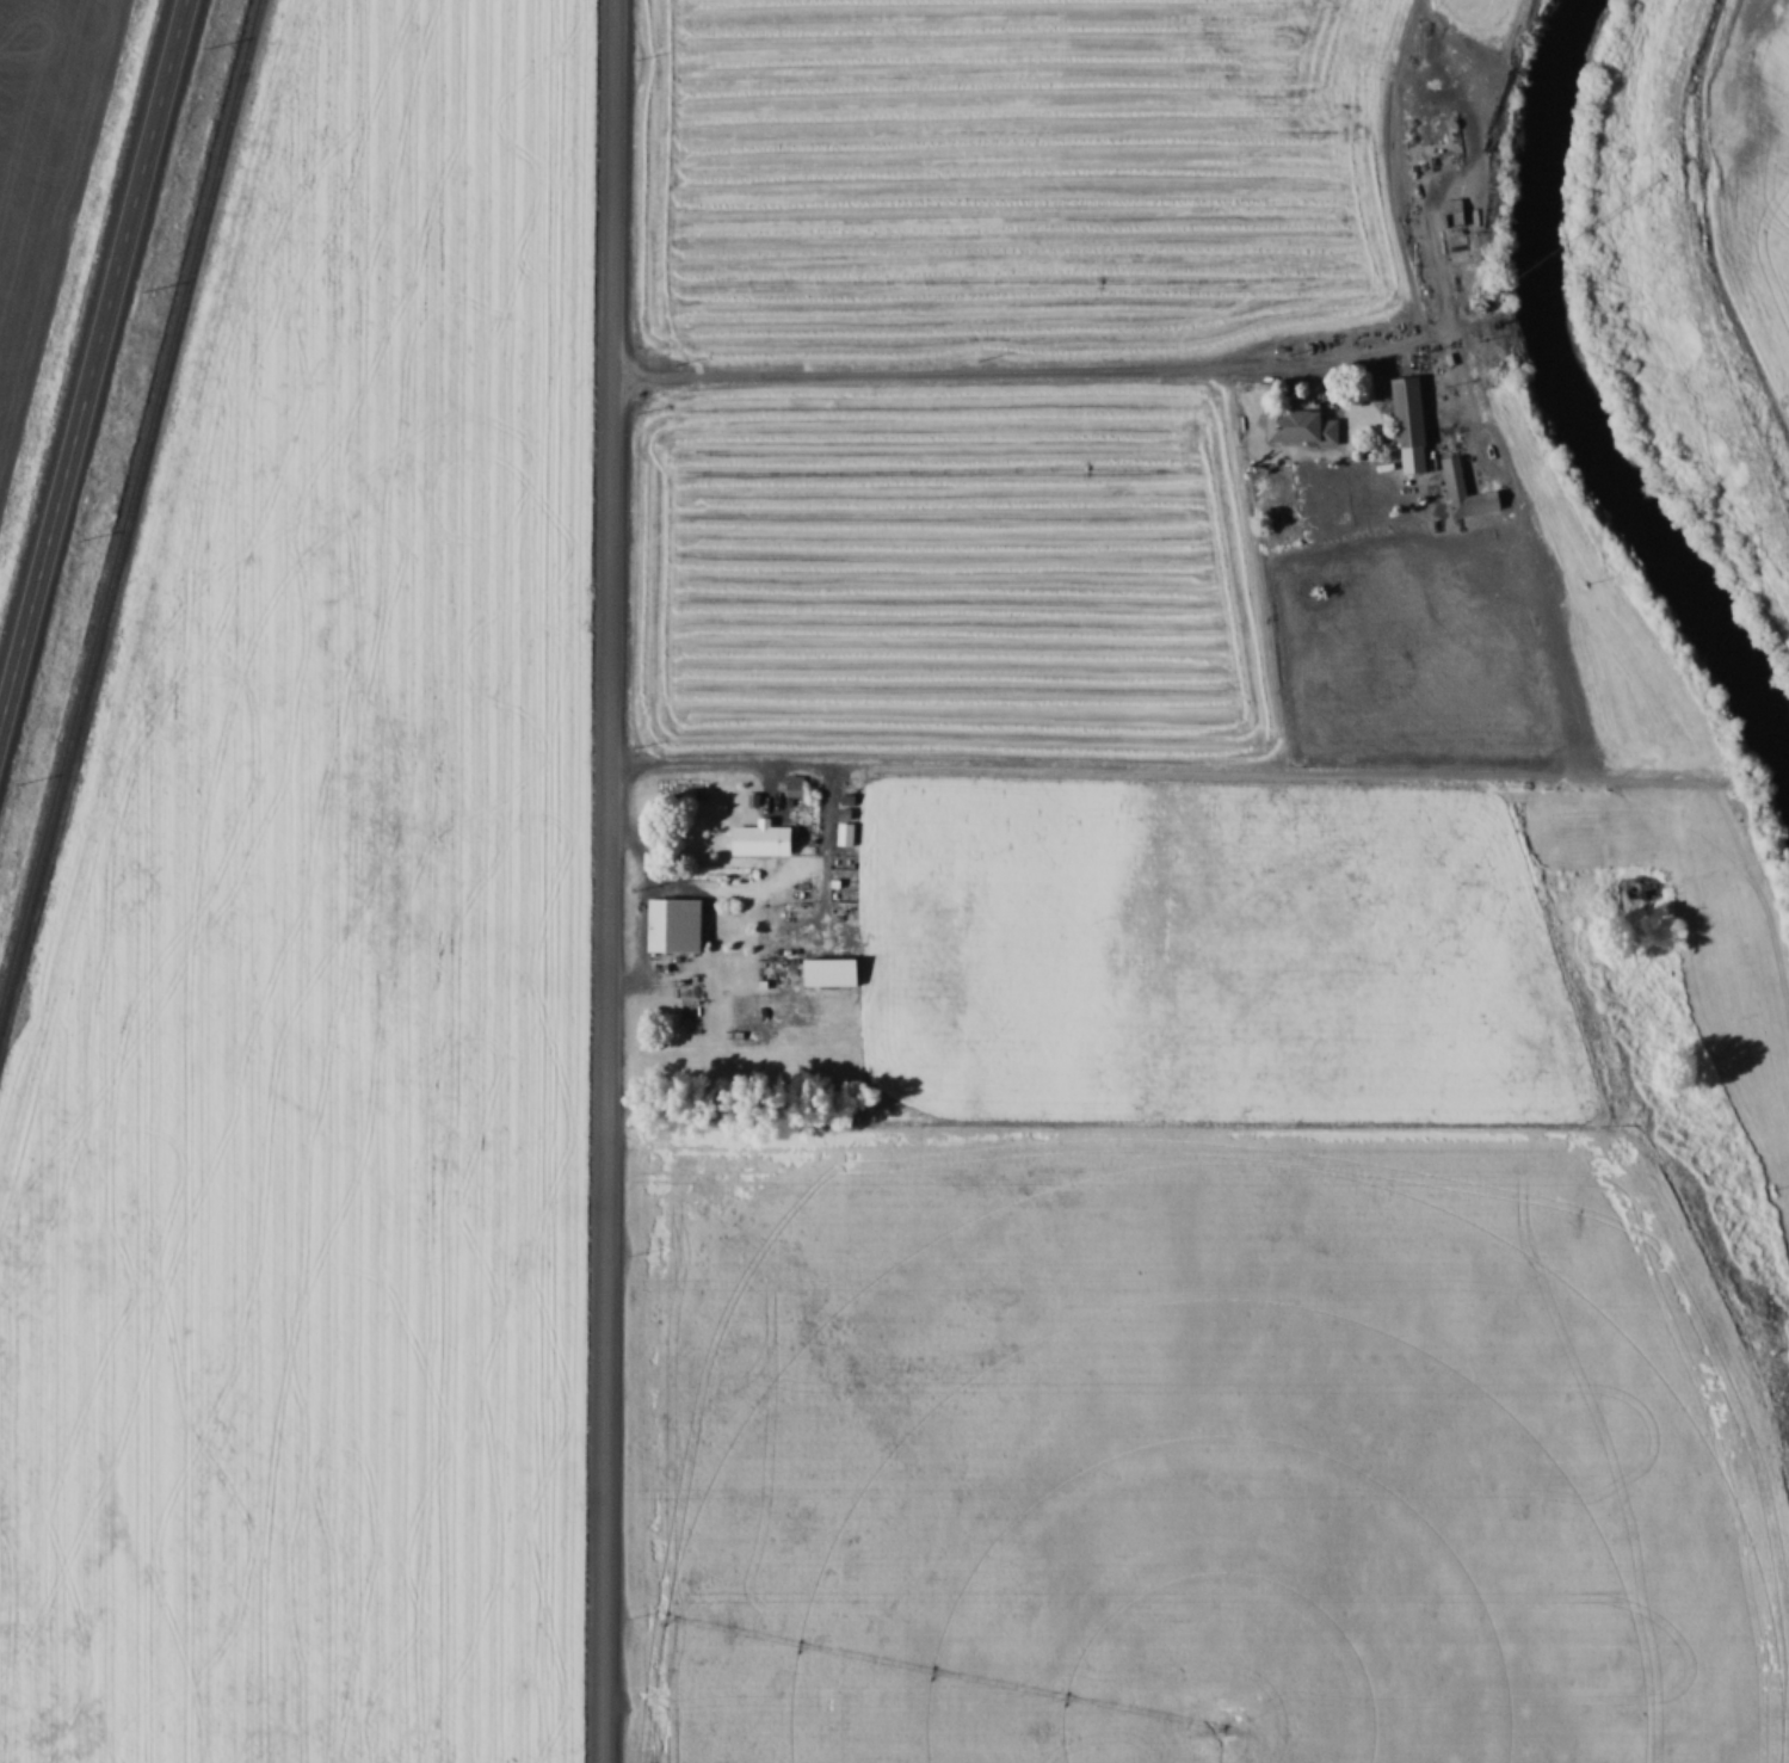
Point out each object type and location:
building: (1451, 221)
road: (94, 366)
road: (1102, 369)
river: (1562, 409)
building: (1415, 423)
building: (1304, 424)
building: (1470, 489)
railway: (129, 506)
road: (1554, 673)
road: (1182, 770)
building: (767, 838)
road: (610, 881)
building: (681, 923)

